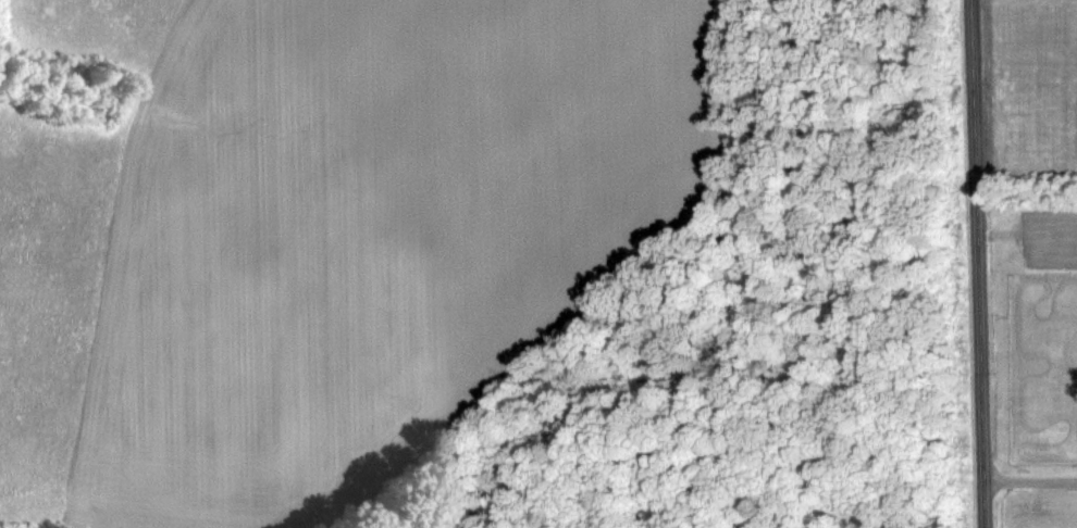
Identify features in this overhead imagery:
road: (982, 264)
road: (1031, 477)

